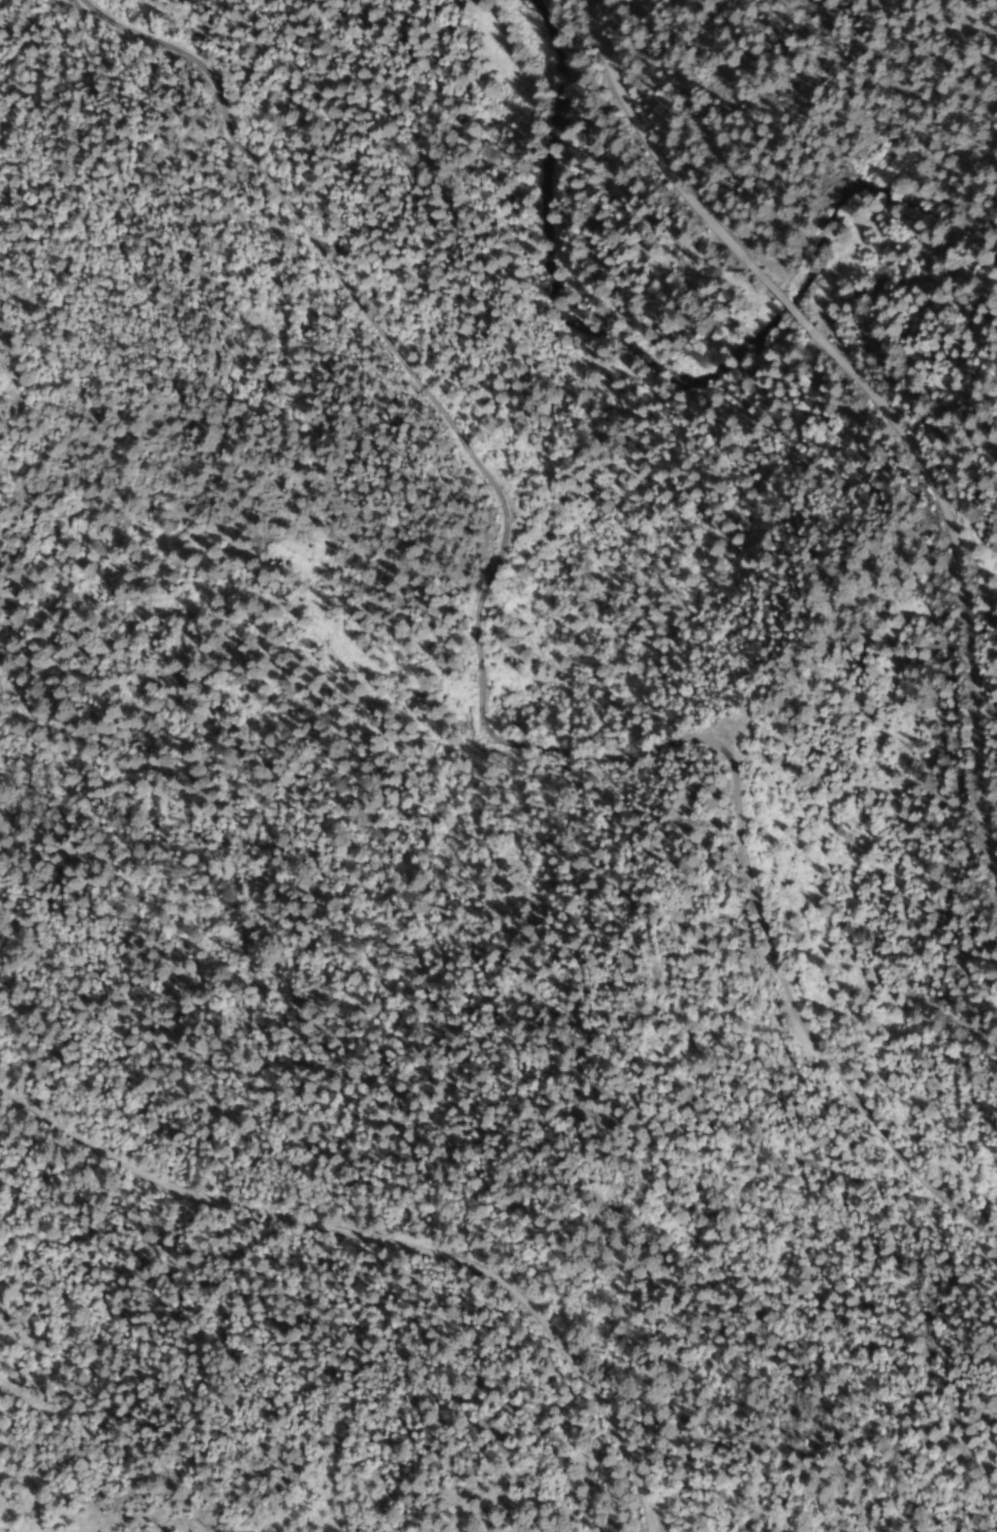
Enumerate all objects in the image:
road: (653, 140)
road: (781, 302)
road: (960, 593)
road: (387, 1238)

